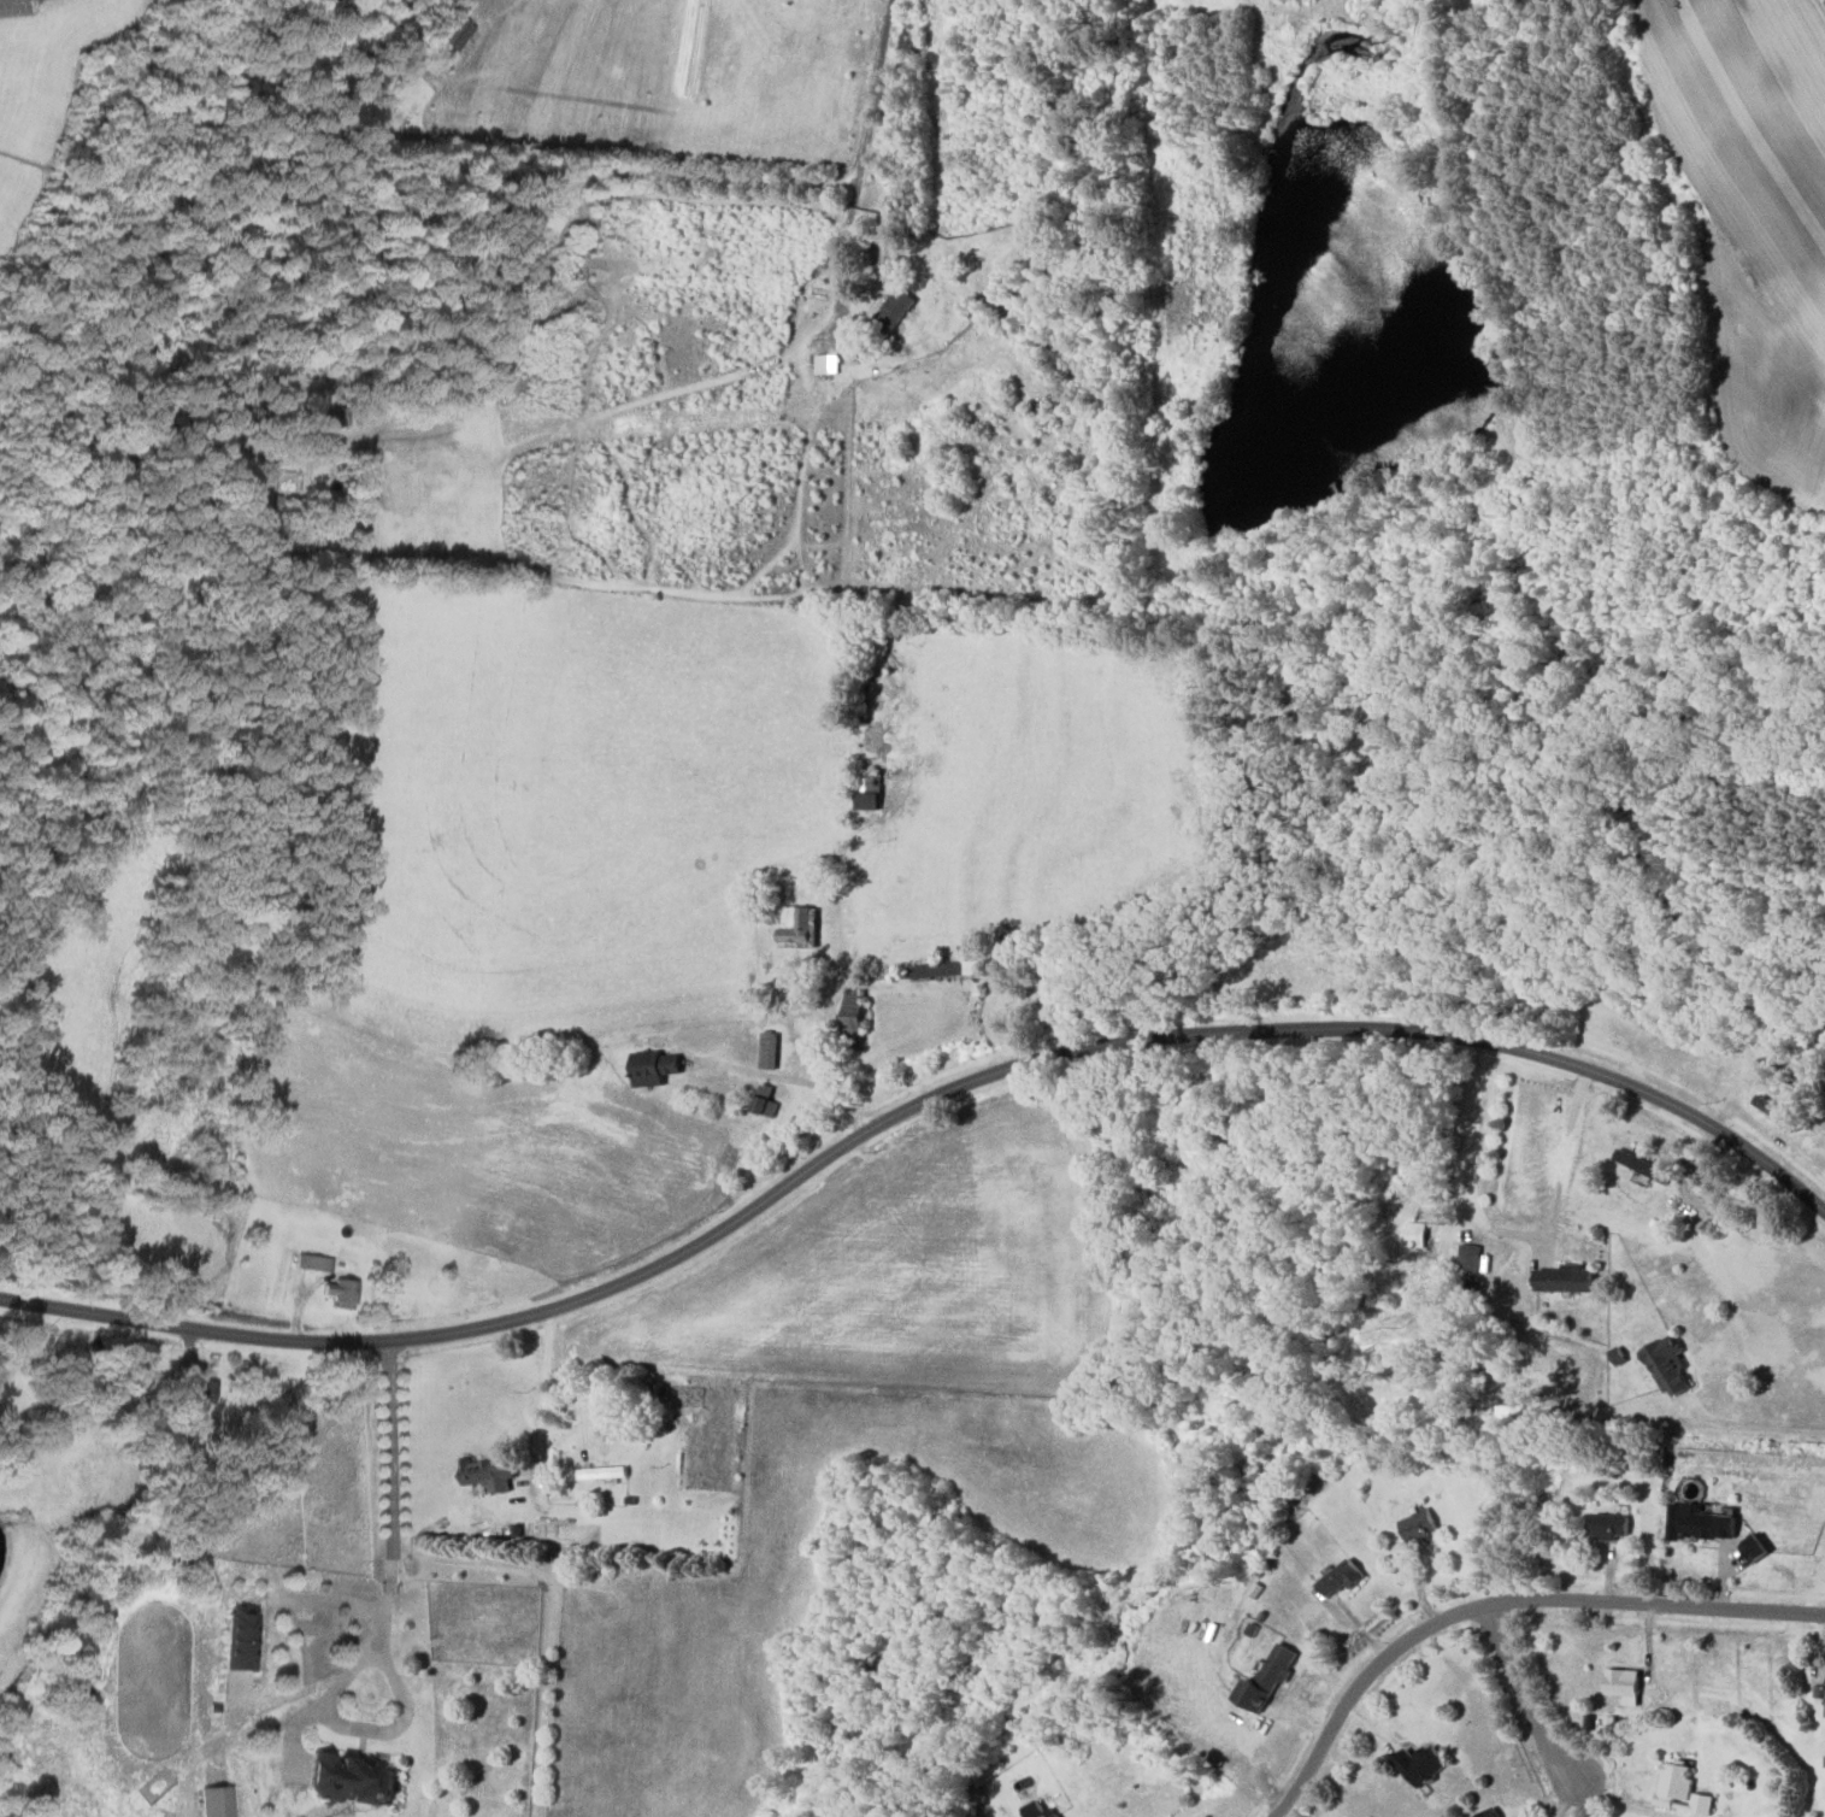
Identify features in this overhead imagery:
building: (455, 31)
road: (861, 151)
road: (510, 277)
building: (891, 312)
building: (252, 500)
building: (866, 800)
building: (797, 925)
building: (946, 969)
building: (852, 1013)
building: (650, 1066)
building: (1771, 1076)
road: (787, 1078)
building: (1771, 1106)
road: (911, 1111)
building: (1641, 1164)
road: (1472, 1172)
building: (1415, 1234)
building: (1468, 1258)
building: (314, 1262)
building: (1565, 1278)
building: (341, 1293)
building: (1666, 1364)
road: (546, 1374)
building: (200, 1390)
road: (1754, 1428)
road: (392, 1463)
building: (485, 1472)
building: (1609, 1524)
building: (1417, 1525)
building: (1753, 1548)
building: (1340, 1577)
road: (1501, 1603)
building: (239, 1637)
building: (1265, 1678)
building: (1623, 1683)
road: (1524, 1699)
road: (264, 1706)
road: (336, 1716)
building: (1420, 1764)
building: (348, 1780)
building: (1679, 1789)
road: (1637, 1797)
building: (216, 1801)
building: (1032, 1810)
building: (1488, 1813)
building: (1055, 1816)

